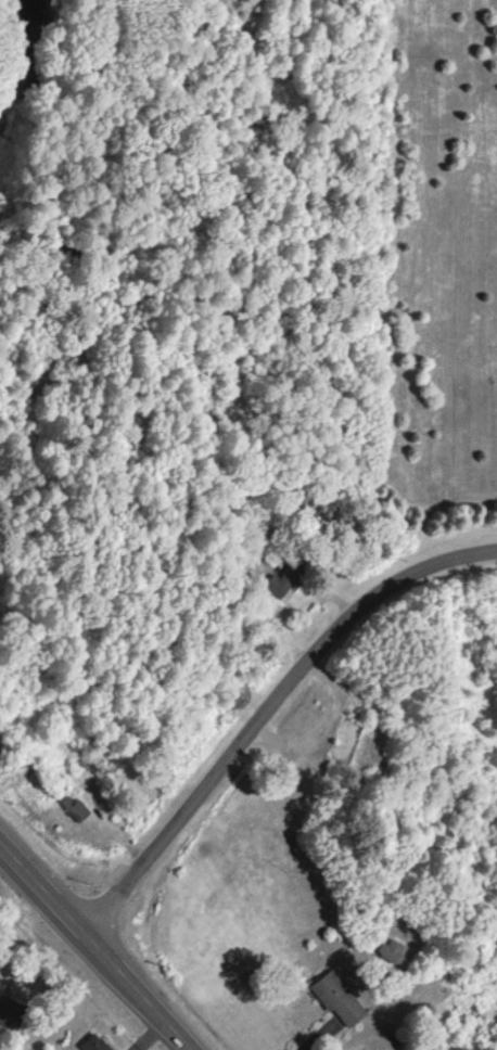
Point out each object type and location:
building: (279, 586)
road: (269, 706)
building: (73, 806)
road: (97, 942)
building: (393, 950)
building: (336, 997)
building: (7, 1010)
road: (306, 1036)
building: (93, 1042)

